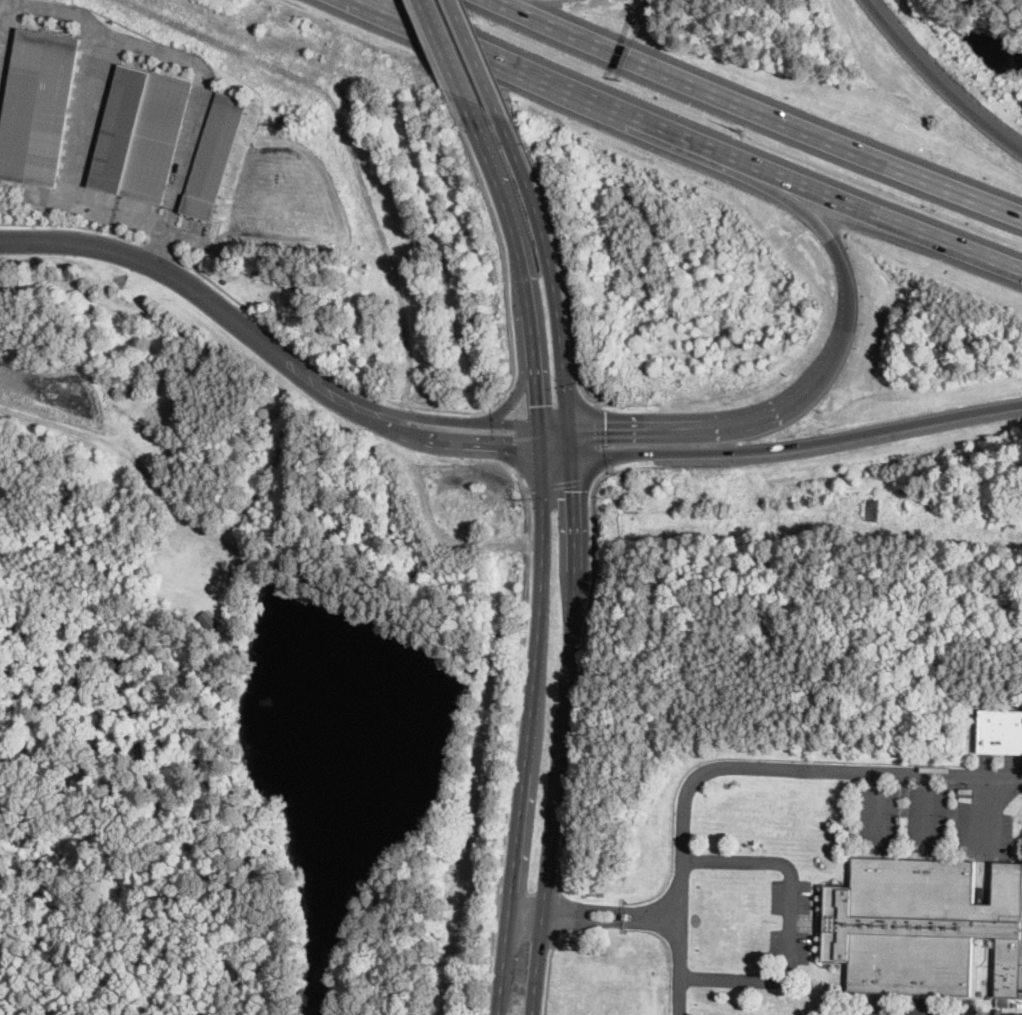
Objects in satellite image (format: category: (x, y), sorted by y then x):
park: (1003, 15)
road: (427, 48)
road: (189, 57)
road: (443, 58)
road: (471, 59)
road: (486, 61)
road: (937, 81)
building: (38, 106)
road: (758, 108)
building: (141, 133)
road: (687, 138)
building: (214, 155)
road: (75, 163)
road: (72, 224)
road: (157, 246)
road: (561, 264)
road: (520, 265)
road: (546, 267)
road: (176, 276)
road: (829, 361)
road: (517, 392)
road: (508, 401)
traffic signals: (538, 404)
road: (563, 409)
road: (471, 410)
road: (521, 412)
road: (515, 413)
road: (427, 417)
road: (553, 423)
traffic signals: (608, 423)
road: (599, 436)
road: (424, 439)
road: (520, 445)
traffic signals: (513, 446)
road: (797, 446)
road: (555, 450)
road: (141, 459)
road: (563, 482)
traffic signals: (570, 490)
building: (872, 509)
building: (207, 621)
road: (580, 671)
road: (527, 719)
road: (559, 719)
building: (1000, 731)
road: (513, 741)
road: (786, 766)
road: (878, 804)
road: (924, 810)
road: (985, 811)
road: (523, 909)
road: (555, 912)
road: (562, 912)
road: (648, 914)
building: (619, 915)
road: (790, 920)
building: (922, 925)
road: (679, 949)
road: (547, 977)
building: (1003, 1002)

